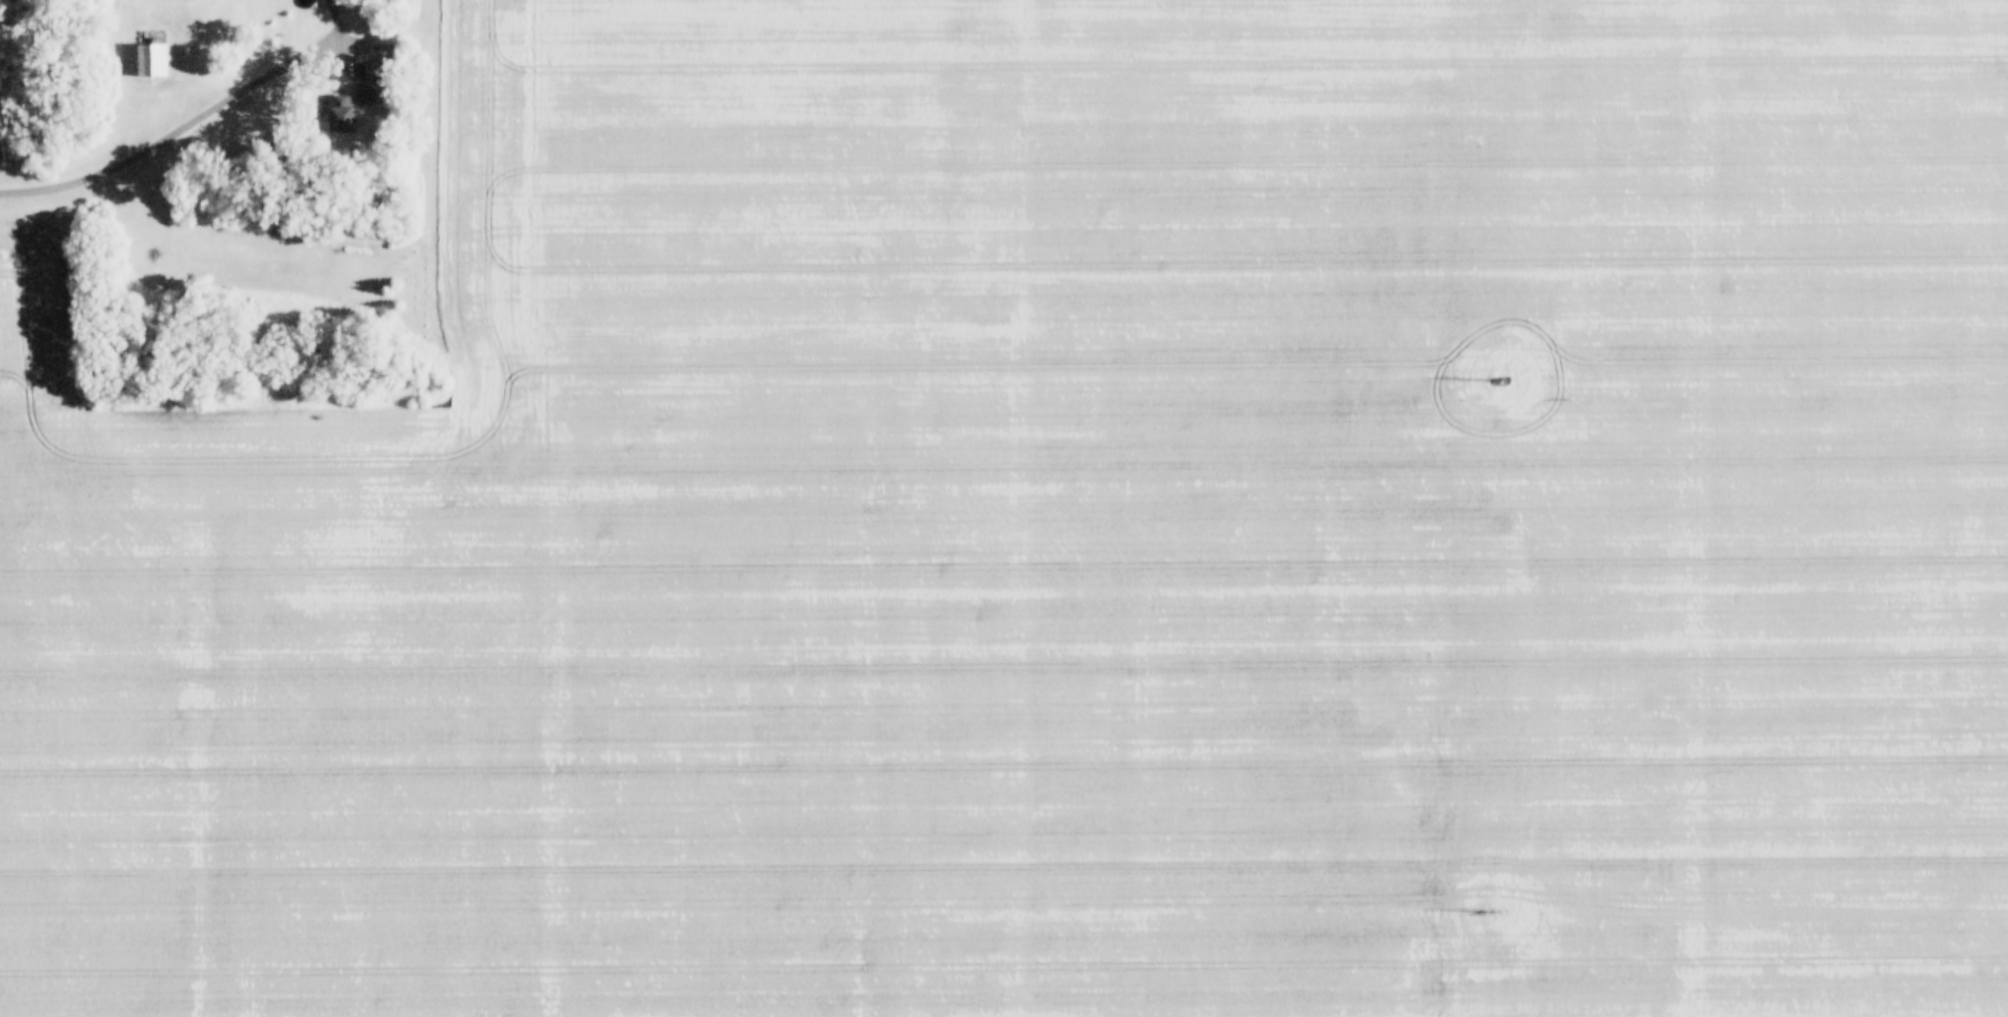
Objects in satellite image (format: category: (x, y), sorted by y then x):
building: (151, 59)
road: (207, 109)
power tower: (1501, 378)
power tower: (1493, 909)

